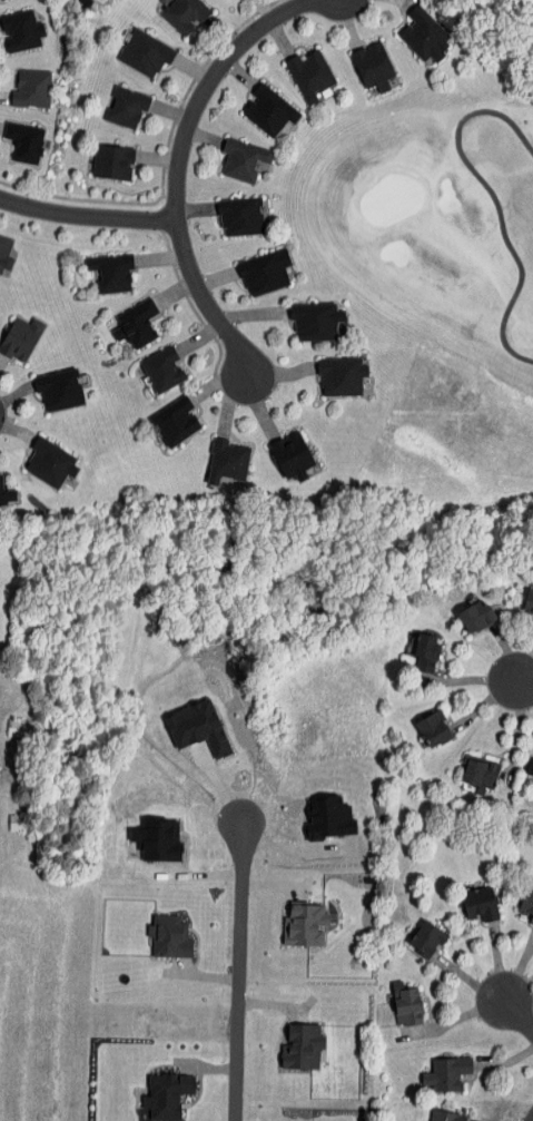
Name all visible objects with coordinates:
building: (0, 0)
road: (269, 8)
building: (184, 14)
road: (349, 18)
building: (21, 30)
road: (280, 30)
building: (424, 35)
road: (228, 36)
building: (145, 53)
building: (373, 67)
road: (198, 69)
road: (236, 69)
building: (309, 75)
road: (208, 82)
building: (31, 89)
building: (126, 107)
building: (268, 110)
road: (172, 111)
road: (201, 135)
building: (24, 142)
road: (165, 159)
building: (243, 159)
building: (112, 163)
road: (196, 208)
road: (86, 215)
building: (240, 216)
park: (441, 220)
building: (6, 255)
building: (111, 273)
building: (265, 273)
road: (206, 297)
building: (316, 322)
building: (136, 324)
building: (21, 340)
building: (162, 370)
building: (342, 377)
building: (59, 391)
road: (10, 422)
building: (175, 422)
building: (290, 454)
building: (50, 461)
building: (227, 462)
building: (7, 492)
building: (529, 601)
building: (476, 616)
building: (532, 621)
building: (425, 651)
road: (506, 651)
road: (466, 680)
road: (523, 681)
road: (490, 697)
road: (517, 720)
building: (198, 726)
building: (19, 727)
building: (435, 727)
building: (531, 768)
building: (480, 771)
building: (328, 817)
building: (17, 822)
building: (527, 902)
building: (481, 903)
building: (305, 924)
building: (169, 936)
building: (427, 938)
road: (497, 962)
road: (519, 968)
road: (235, 974)
road: (468, 981)
road: (519, 989)
building: (406, 1003)
road: (526, 1012)
road: (519, 1015)
road: (454, 1019)
road: (509, 1062)
building: (447, 1073)
building: (167, 1094)
building: (447, 1115)

